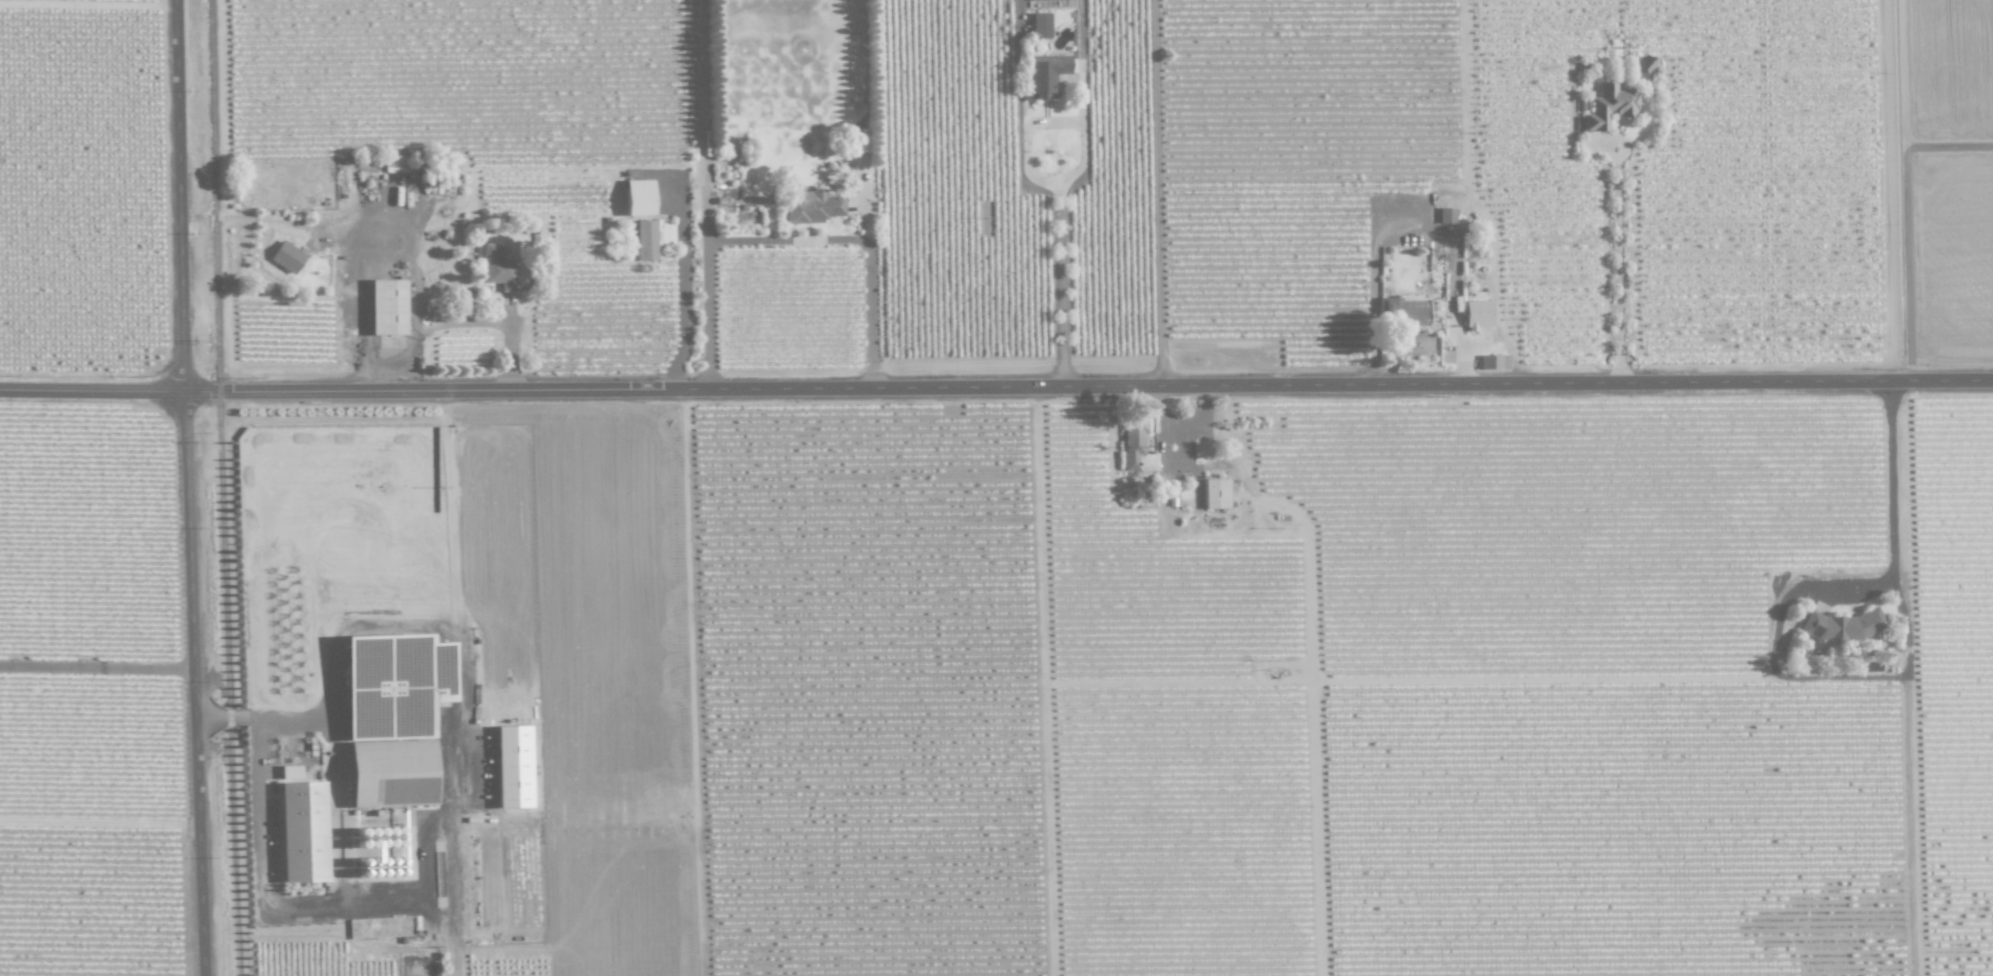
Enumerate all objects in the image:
building: (1032, 0)
road: (1018, 12)
building: (1040, 25)
building: (1644, 64)
road: (1081, 73)
building: (1045, 74)
building: (1609, 106)
building: (395, 164)
road: (1895, 191)
road: (1160, 193)
building: (638, 197)
building: (811, 207)
building: (1445, 215)
road: (1408, 218)
building: (645, 240)
road: (789, 243)
building: (286, 257)
road: (1060, 259)
road: (368, 260)
road: (1620, 267)
building: (498, 268)
road: (684, 296)
building: (386, 307)
building: (1402, 313)
building: (1476, 315)
road: (493, 323)
road: (415, 361)
building: (1493, 362)
road: (996, 388)
building: (1136, 449)
road: (1893, 483)
road: (189, 488)
building: (1214, 494)
building: (1842, 626)
road: (97, 669)
road: (260, 716)
building: (393, 717)
building: (512, 767)
building: (289, 772)
building: (301, 832)
road: (450, 895)

